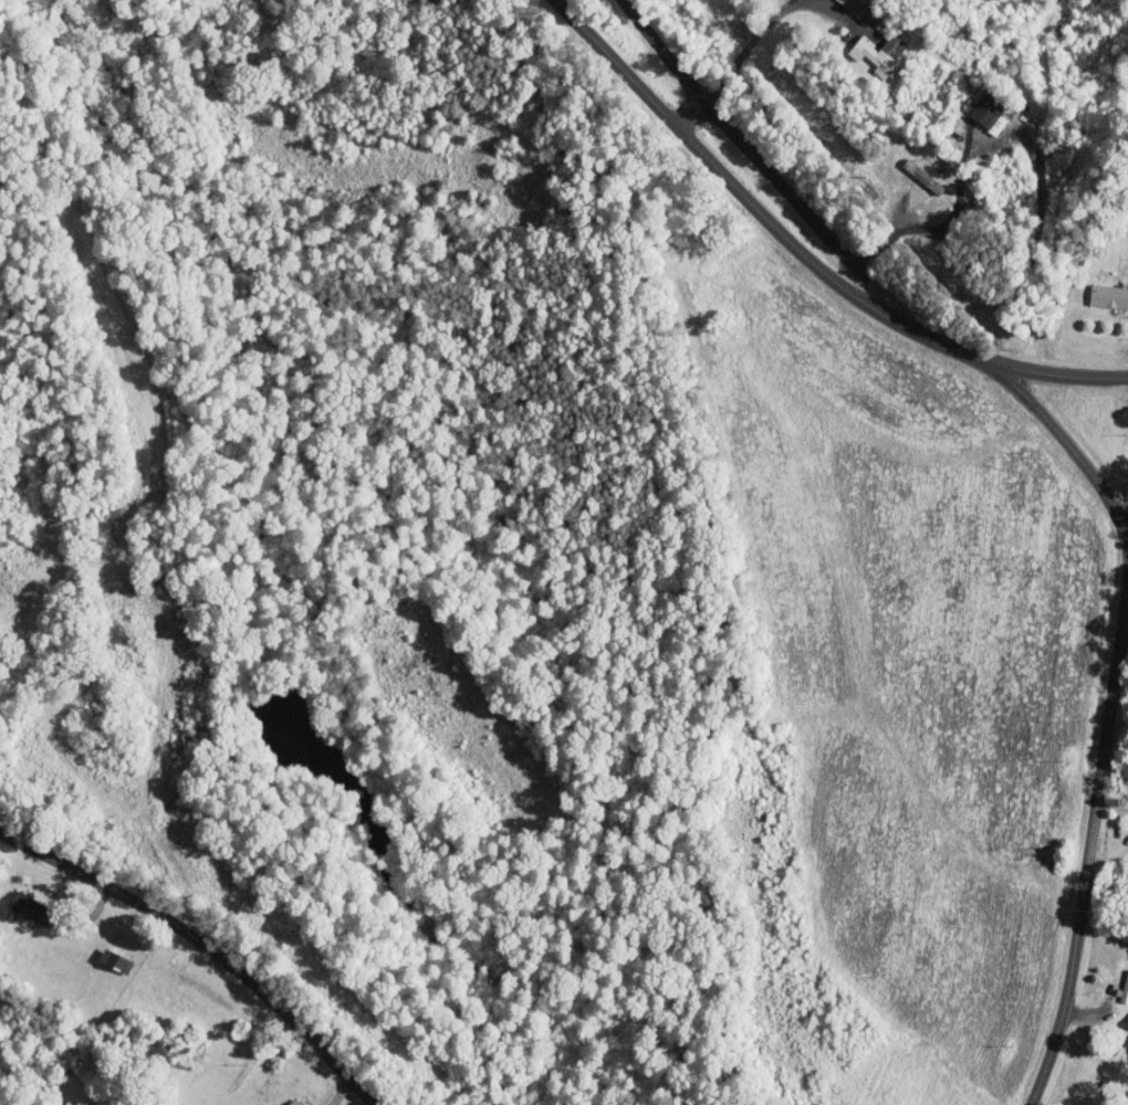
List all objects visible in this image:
building: (855, 6)
road: (764, 27)
building: (879, 51)
building: (984, 109)
road: (691, 114)
road: (743, 143)
building: (949, 152)
road: (941, 227)
road: (804, 254)
building: (1108, 295)
road: (1061, 439)
road: (1089, 849)
building: (25, 907)
road: (203, 945)
building: (114, 960)
building: (294, 1102)

